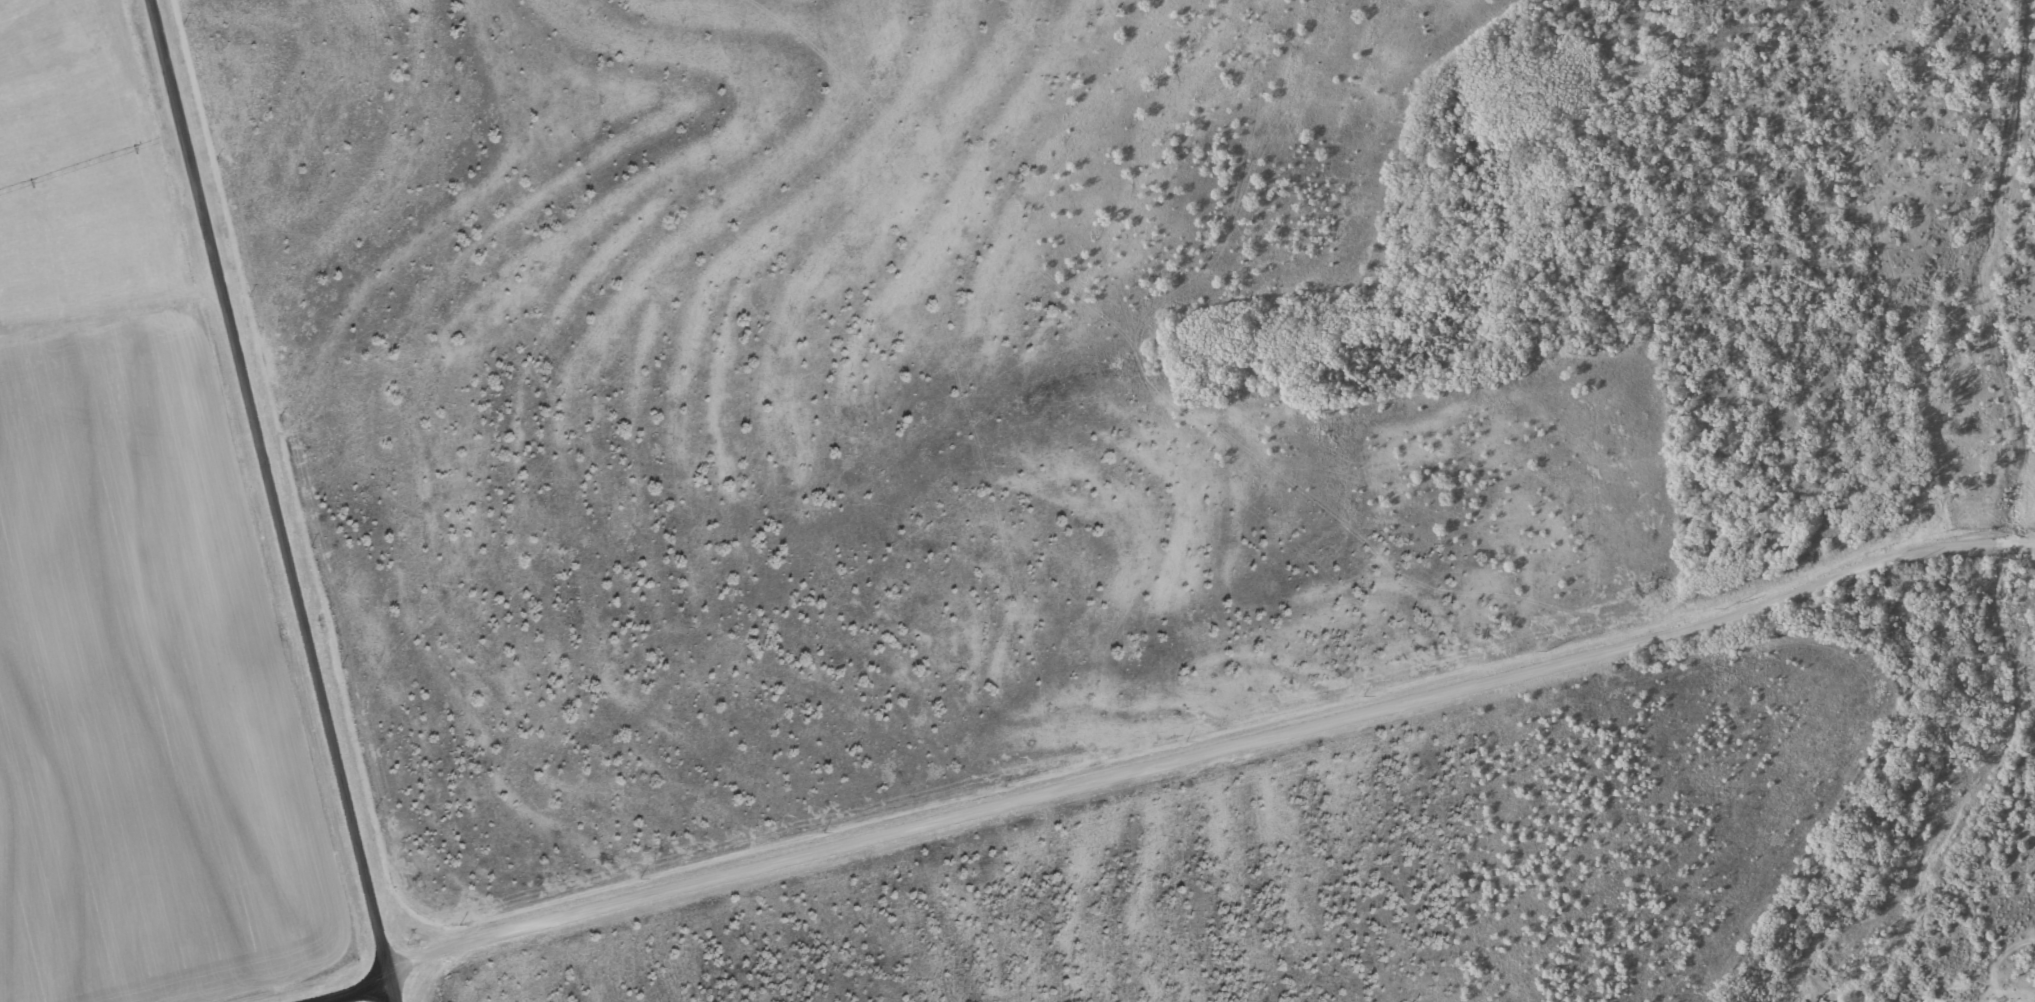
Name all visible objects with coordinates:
road: (277, 500)
road: (2012, 645)
road: (1211, 746)
road: (345, 988)

